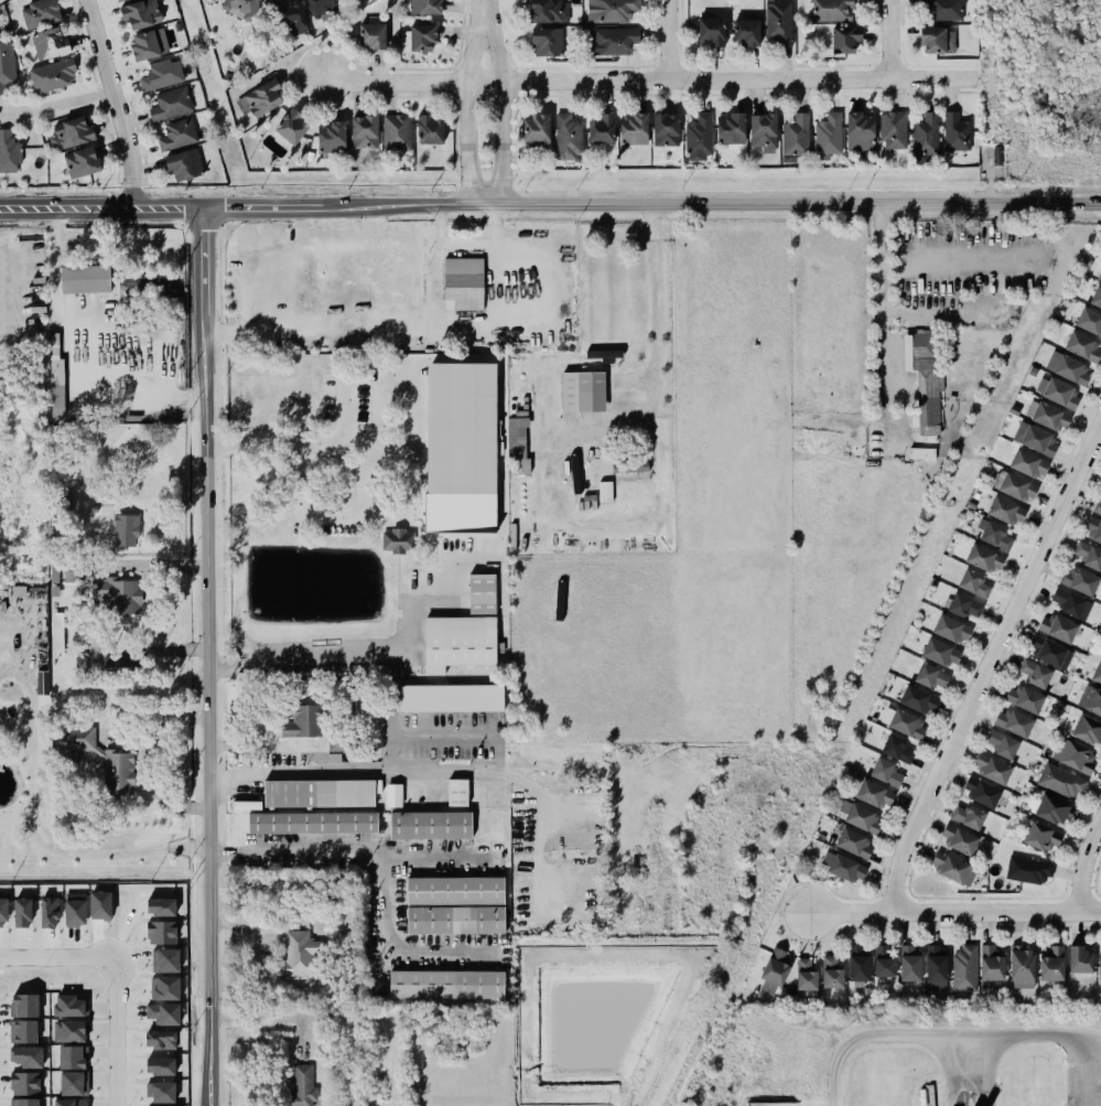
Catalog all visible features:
building: (119, 0)
building: (323, 7)
building: (424, 8)
building: (241, 9)
building: (609, 9)
building: (942, 9)
building: (546, 11)
building: (831, 11)
building: (40, 13)
building: (141, 13)
road: (483, 13)
building: (291, 17)
building: (778, 22)
building: (712, 31)
building: (746, 34)
building: (371, 36)
building: (421, 37)
building: (843, 37)
building: (614, 40)
building: (938, 41)
building: (546, 42)
road: (668, 42)
road: (884, 43)
building: (50, 44)
building: (149, 44)
building: (7, 66)
building: (52, 75)
building: (162, 75)
road: (645, 84)
building: (259, 100)
road: (115, 103)
building: (169, 104)
road: (56, 105)
road: (504, 112)
road: (467, 114)
building: (292, 127)
building: (731, 128)
building: (893, 128)
building: (602, 129)
building: (634, 129)
building: (430, 130)
building: (666, 130)
building: (365, 131)
building: (537, 131)
building: (860, 131)
building: (397, 132)
building: (762, 132)
building: (925, 132)
building: (956, 132)
building: (72, 133)
building: (176, 133)
building: (828, 133)
building: (699, 136)
building: (796, 136)
building: (332, 138)
building: (568, 138)
building: (9, 151)
building: (82, 162)
building: (183, 164)
road: (550, 204)
road: (495, 262)
road: (436, 264)
building: (1099, 275)
building: (85, 279)
building: (463, 283)
building: (1097, 297)
road: (881, 320)
building: (1089, 321)
road: (353, 326)
road: (652, 343)
building: (1082, 346)
road: (76, 351)
building: (603, 354)
building: (1068, 368)
building: (925, 376)
building: (56, 377)
building: (583, 391)
building: (1058, 393)
building: (1050, 417)
road: (305, 434)
building: (1037, 440)
building: (518, 445)
building: (461, 448)
building: (922, 453)
building: (63, 462)
building: (1028, 464)
building: (629, 465)
building: (574, 474)
building: (1018, 487)
building: (605, 491)
building: (62, 502)
building: (1098, 508)
building: (1006, 511)
building: (126, 530)
building: (1093, 531)
building: (993, 535)
building: (398, 540)
building: (1089, 556)
building: (983, 558)
road: (261, 580)
building: (1080, 581)
building: (974, 583)
building: (481, 593)
building: (117, 594)
building: (1071, 603)
building: (964, 605)
building: (1057, 627)
building: (952, 630)
building: (457, 642)
building: (1049, 652)
building: (939, 653)
road: (207, 656)
road: (302, 656)
building: (120, 664)
road: (987, 664)
building: (1036, 673)
building: (1097, 674)
building: (931, 676)
building: (42, 681)
building: (450, 698)
building: (1024, 698)
building: (1090, 699)
building: (918, 700)
road: (31, 707)
building: (305, 721)
building: (1014, 722)
building: (907, 724)
building: (1088, 730)
road: (17, 738)
building: (77, 741)
building: (1002, 744)
road: (256, 745)
building: (897, 749)
building: (1073, 755)
building: (993, 770)
road: (390, 771)
building: (117, 772)
building: (886, 772)
building: (1061, 781)
building: (457, 792)
building: (320, 793)
building: (982, 793)
building: (875, 794)
building: (393, 795)
building: (1053, 809)
building: (860, 816)
building: (969, 816)
building: (313, 823)
building: (430, 825)
building: (1041, 837)
building: (960, 839)
building: (853, 842)
road: (86, 852)
road: (349, 853)
road: (1086, 863)
building: (842, 867)
building: (953, 868)
building: (1028, 870)
building: (455, 890)
building: (161, 906)
building: (74, 909)
building: (3, 911)
building: (22, 912)
building: (50, 912)
road: (954, 912)
building: (455, 920)
building: (162, 932)
road: (393, 945)
building: (299, 953)
road: (57, 959)
building: (165, 959)
building: (1080, 960)
building: (884, 962)
building: (992, 963)
building: (859, 964)
building: (910, 964)
building: (1053, 965)
building: (965, 968)
building: (1022, 968)
building: (775, 969)
building: (936, 969)
building: (1100, 969)
building: (832, 973)
building: (806, 975)
building: (445, 984)
building: (165, 988)
building: (378, 988)
building: (23, 1005)
building: (68, 1006)
road: (273, 1017)
building: (68, 1030)
building: (22, 1031)
road: (115, 1032)
road: (1036, 1035)
building: (160, 1039)
building: (26, 1056)
building: (71, 1056)
building: (160, 1065)
building: (24, 1083)
building: (74, 1083)
building: (302, 1085)
building: (159, 1091)
building: (24, 1102)
building: (69, 1102)

